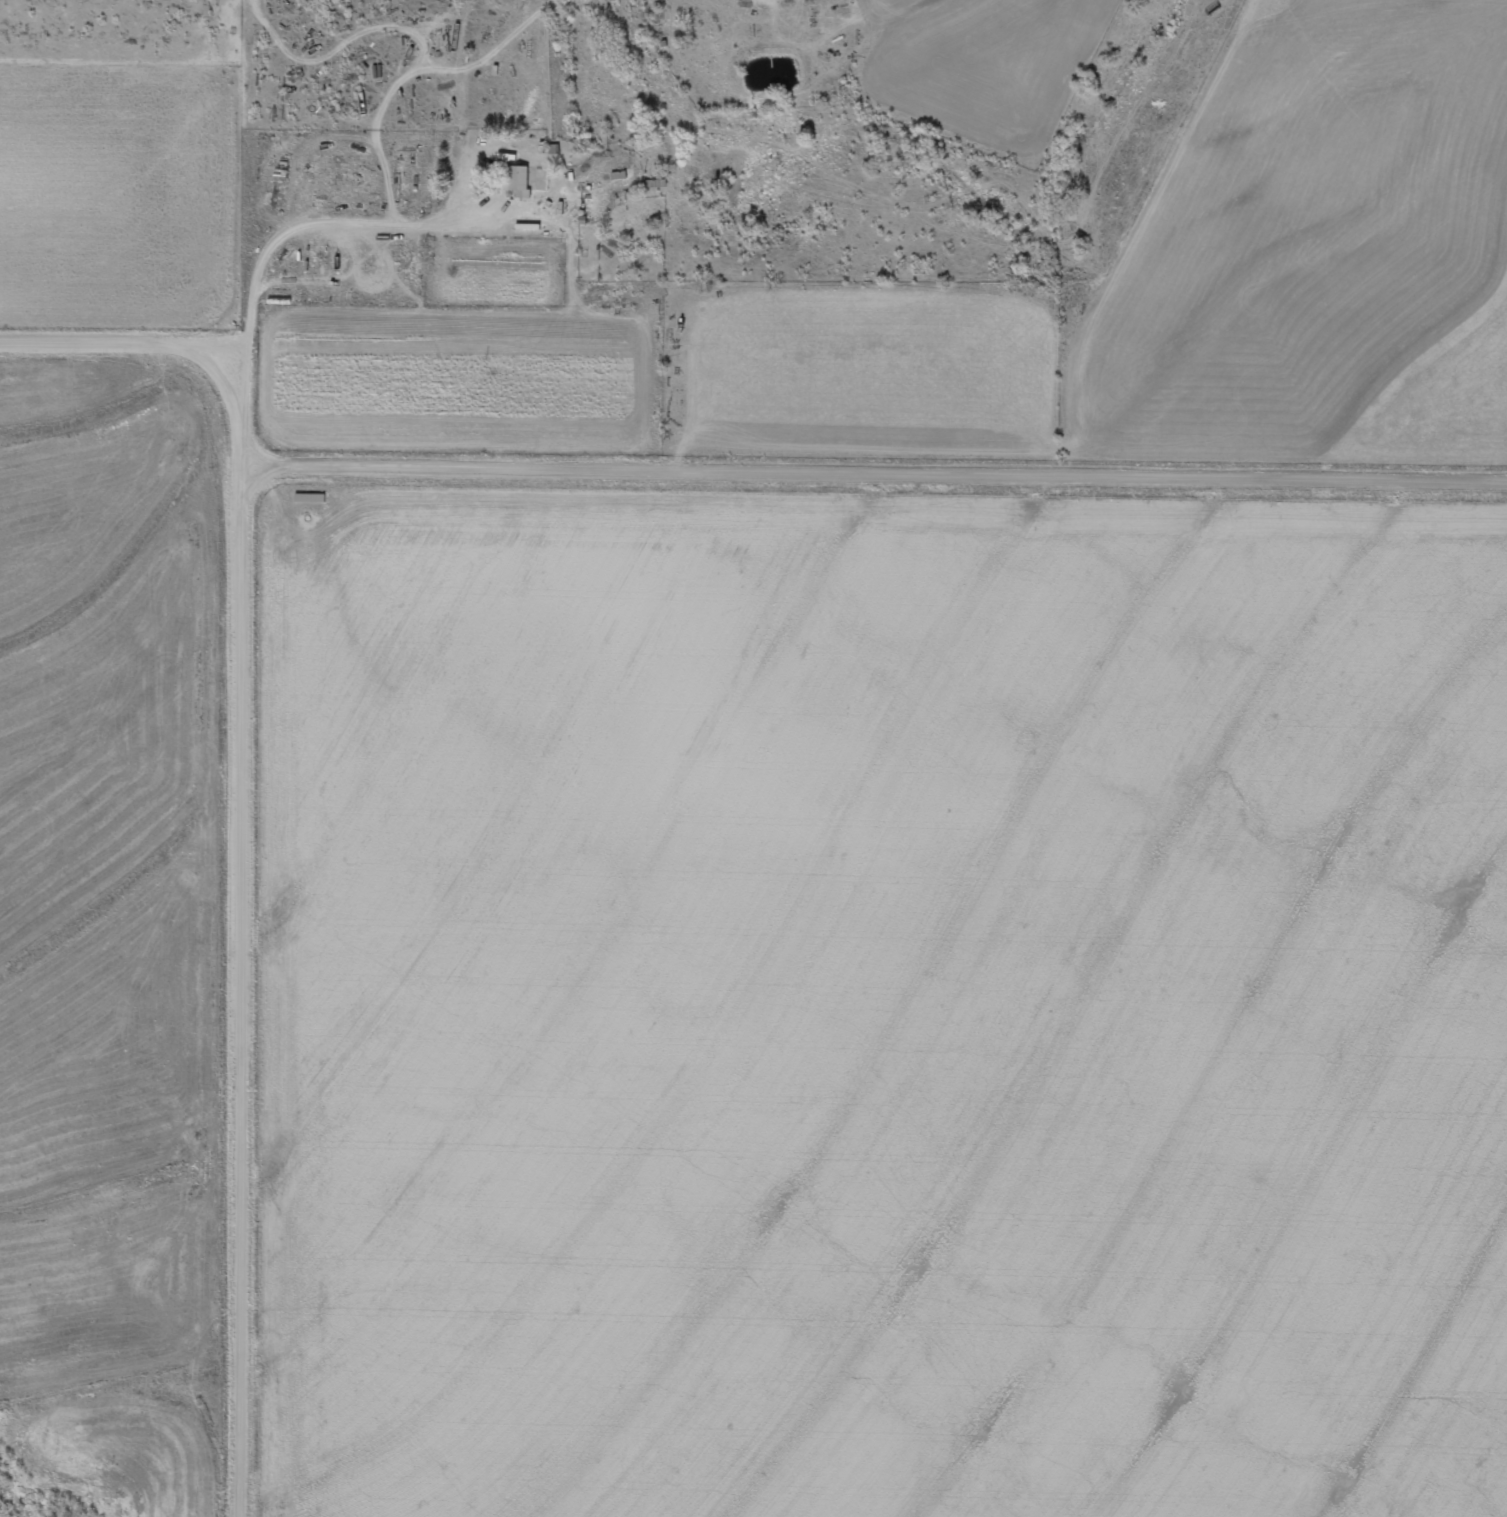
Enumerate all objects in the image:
building: (527, 181)
road: (232, 305)
road: (713, 468)
building: (312, 500)
road: (248, 987)

